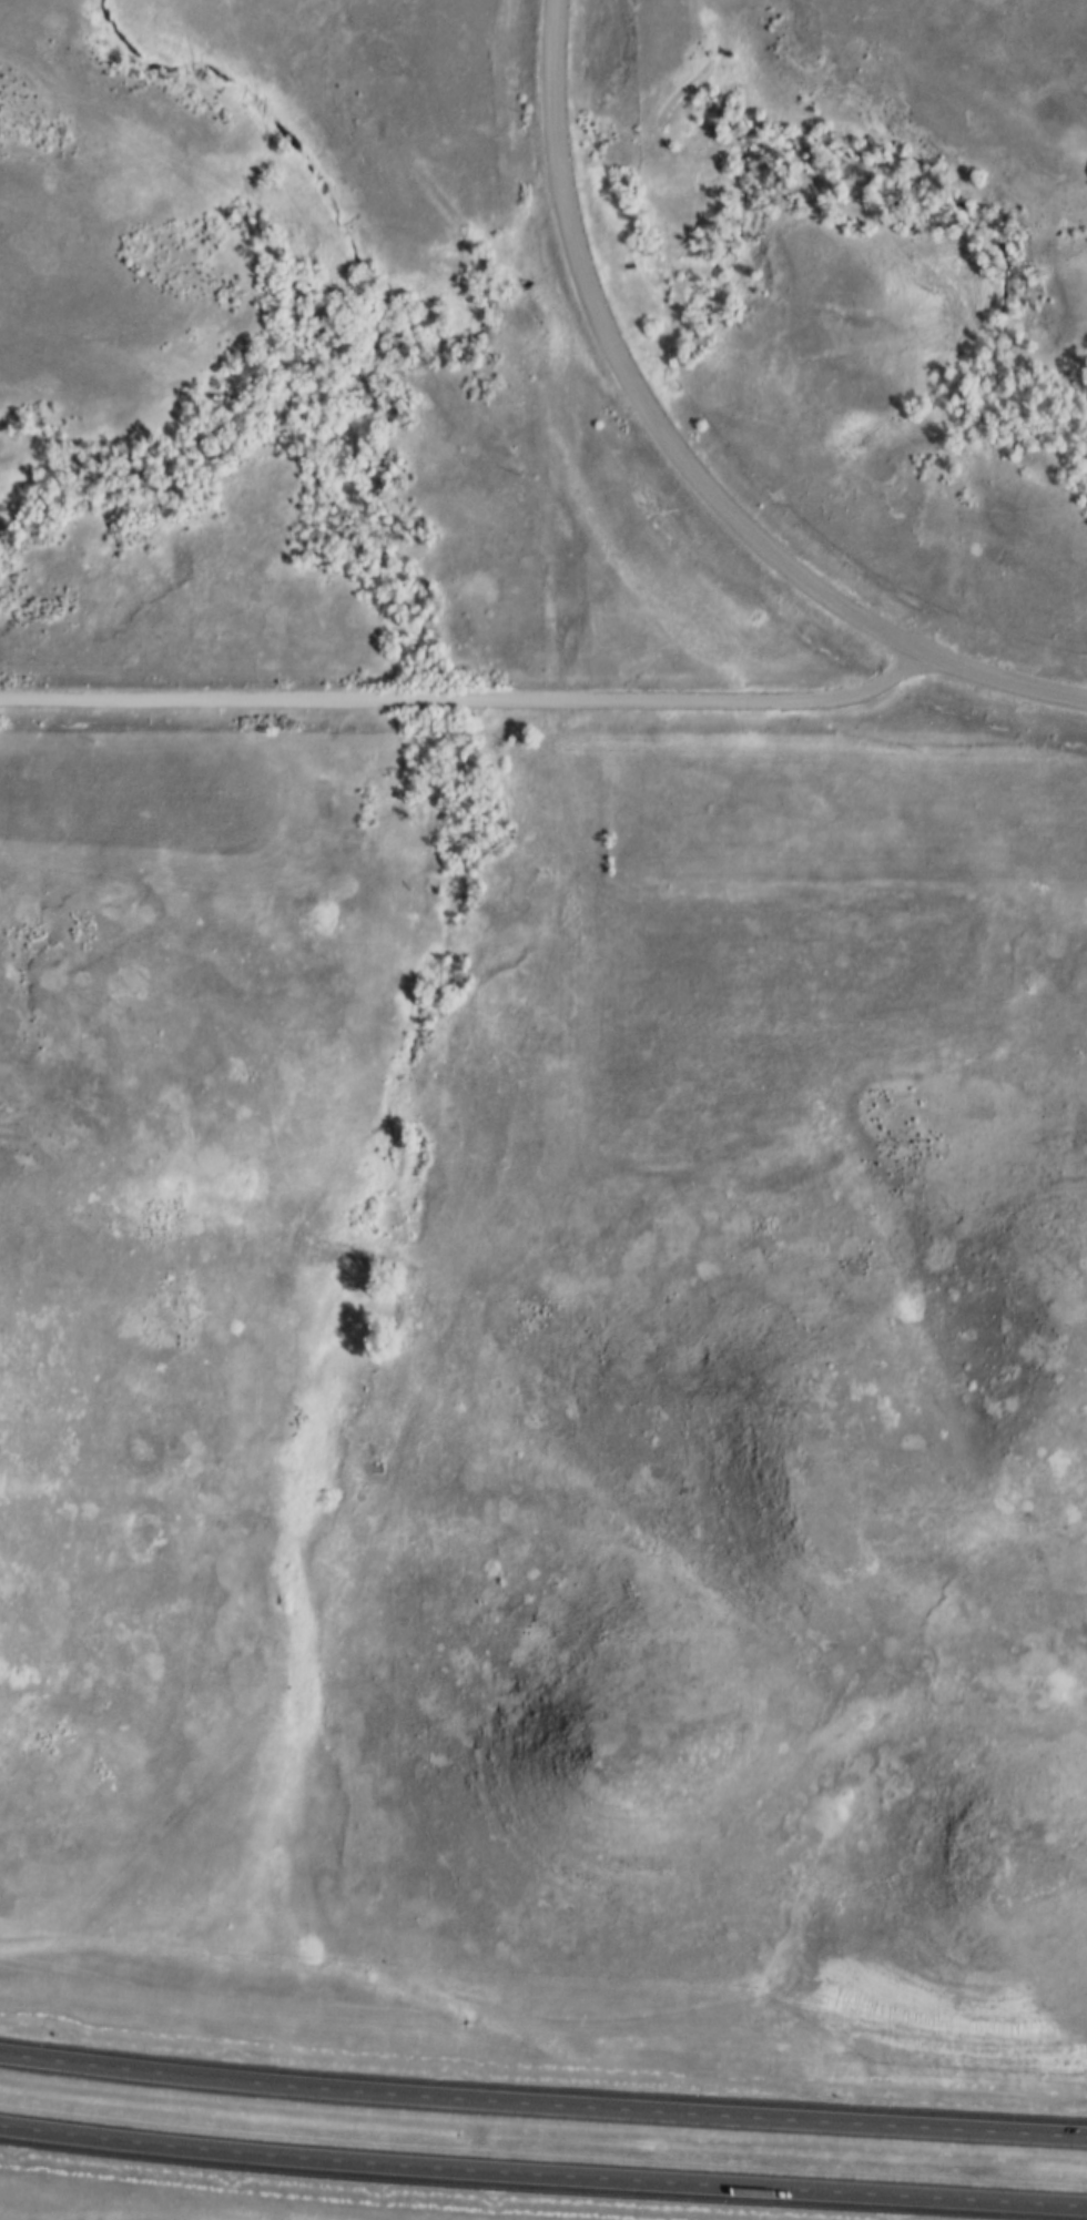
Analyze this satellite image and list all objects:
road: (628, 384)
road: (997, 689)
road: (466, 708)
road: (542, 2106)
road: (542, 2175)

